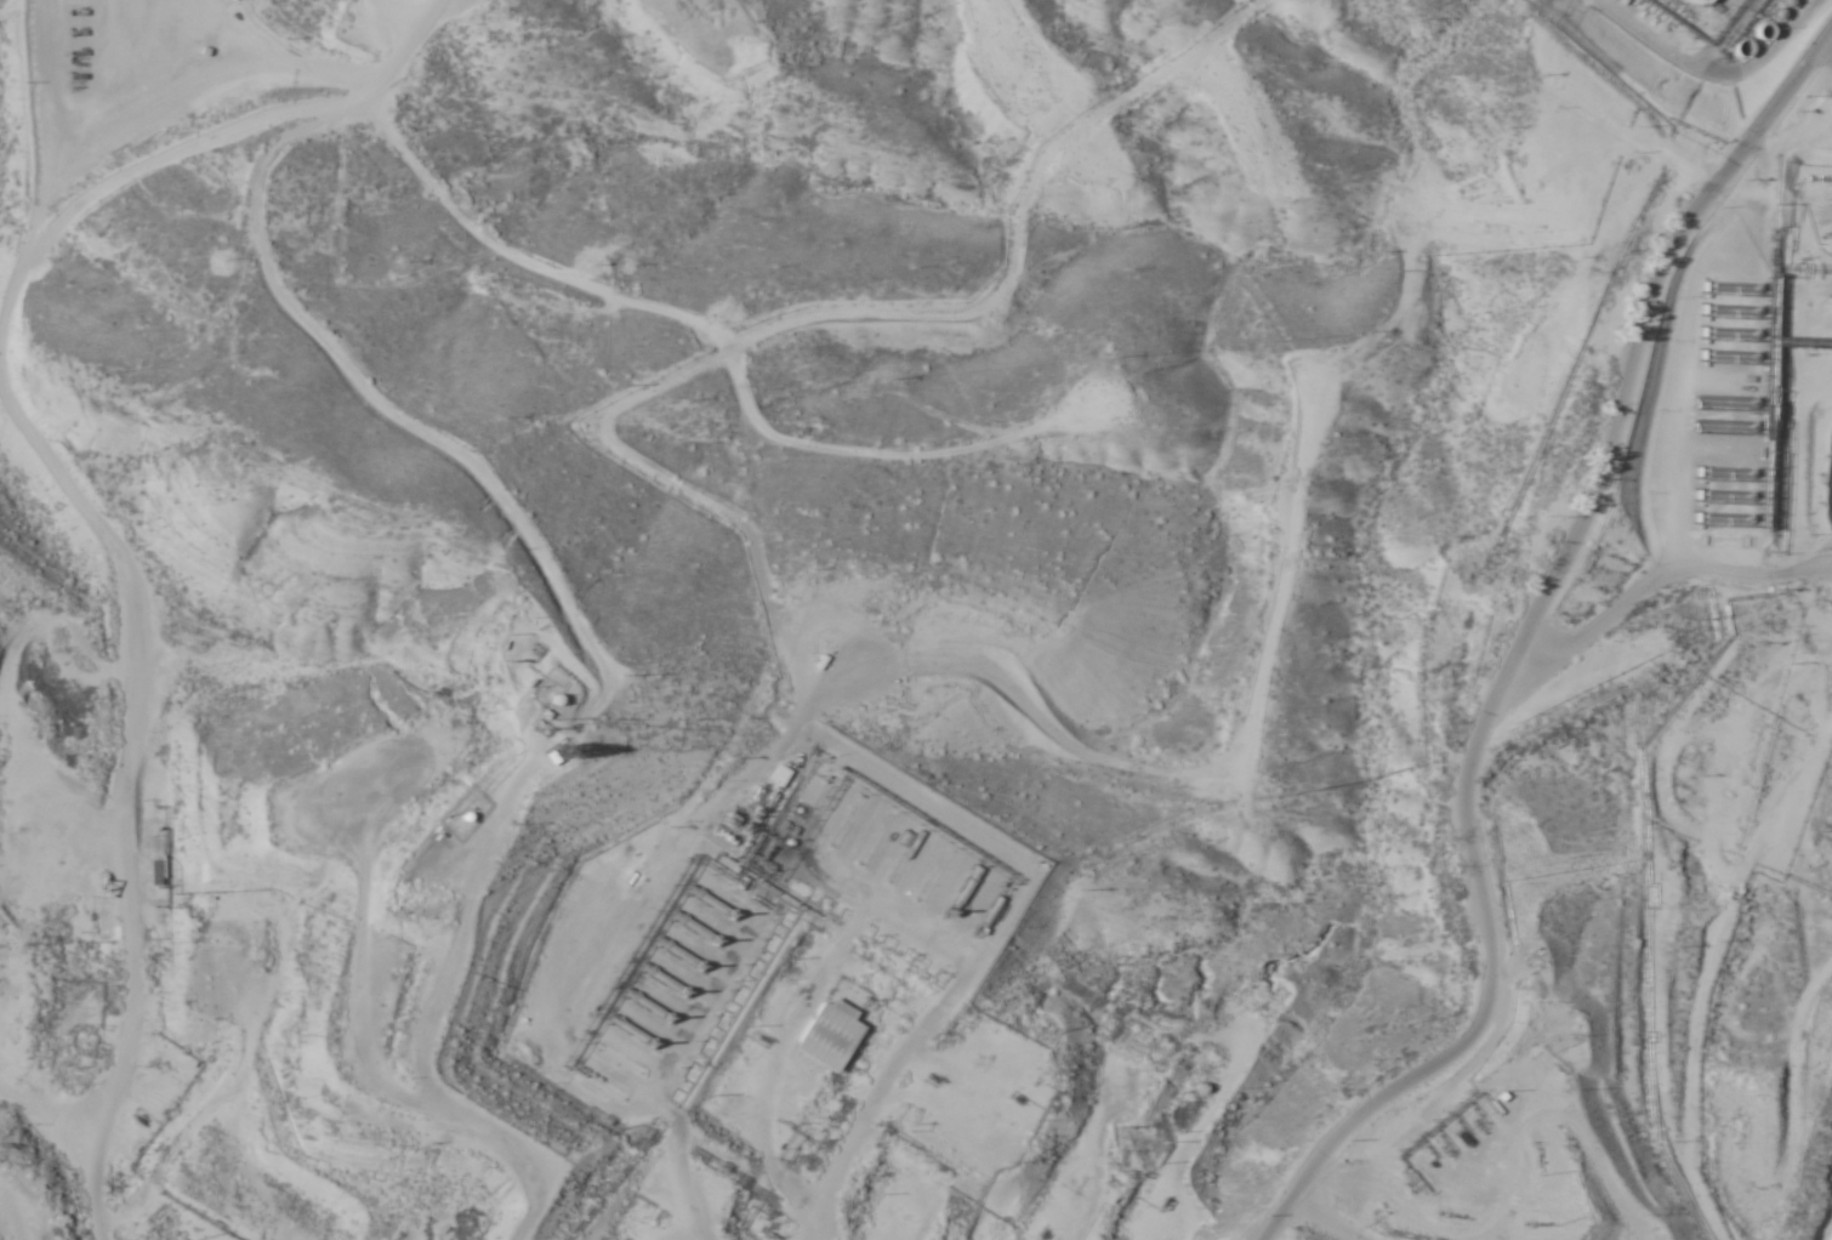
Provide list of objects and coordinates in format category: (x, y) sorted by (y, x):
building: (837, 1035)

